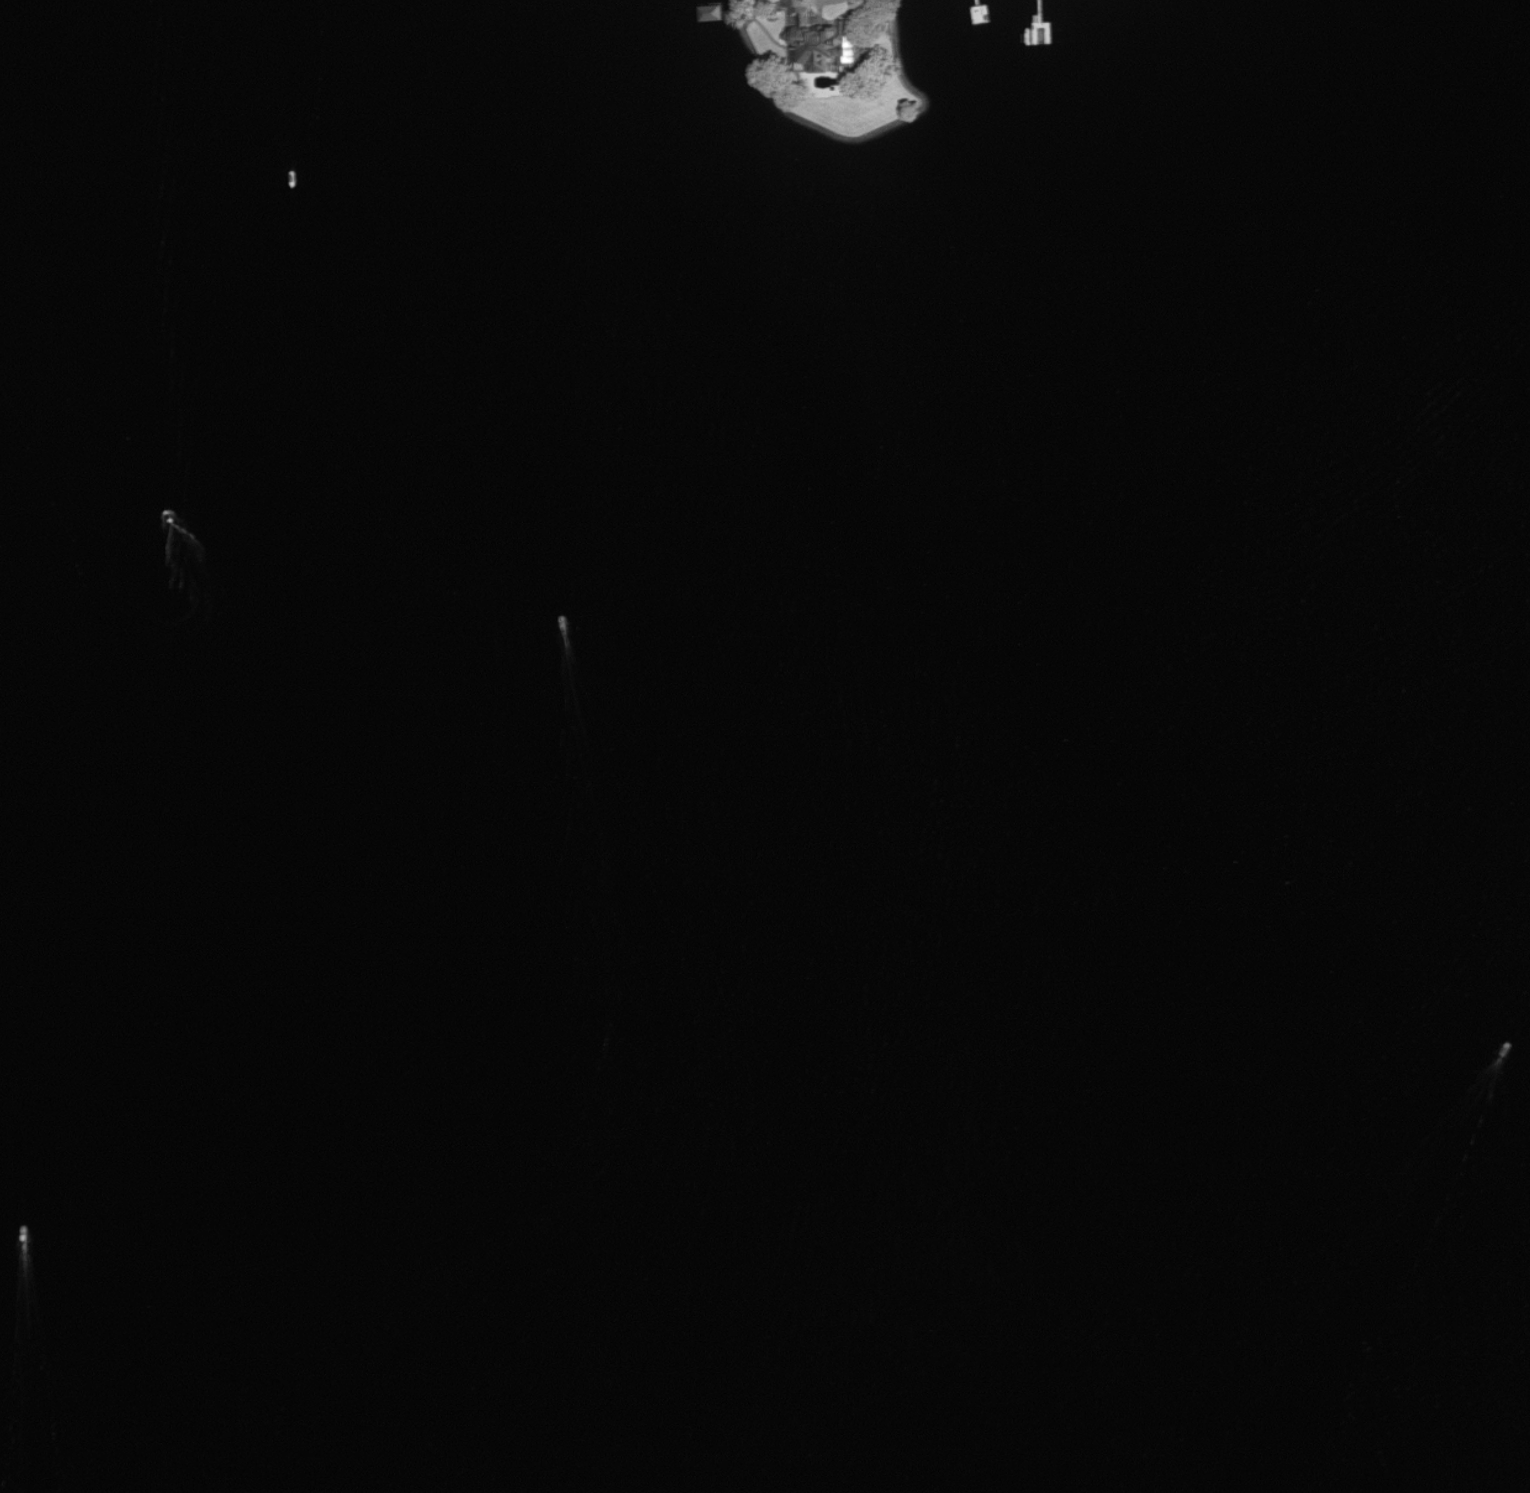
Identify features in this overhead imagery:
building: (806, 5)
building: (821, 48)

